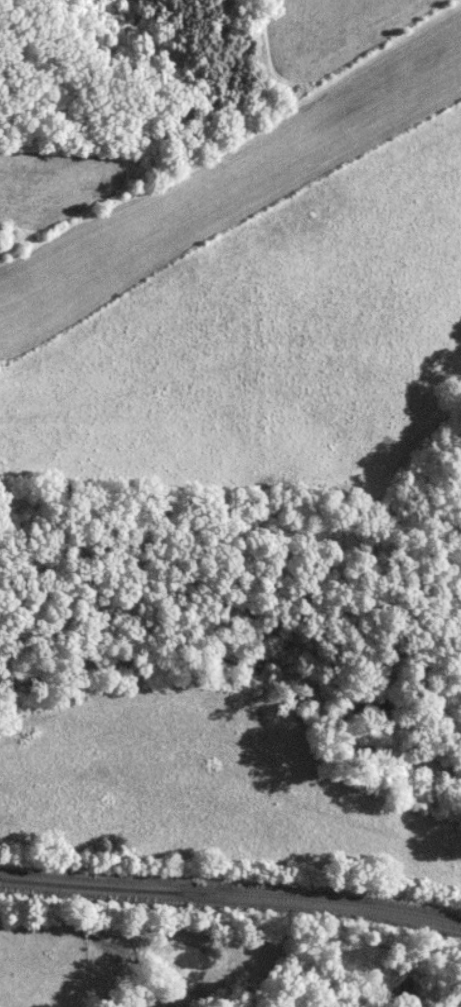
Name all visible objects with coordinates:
airport runway: (230, 163)
railway: (231, 895)

